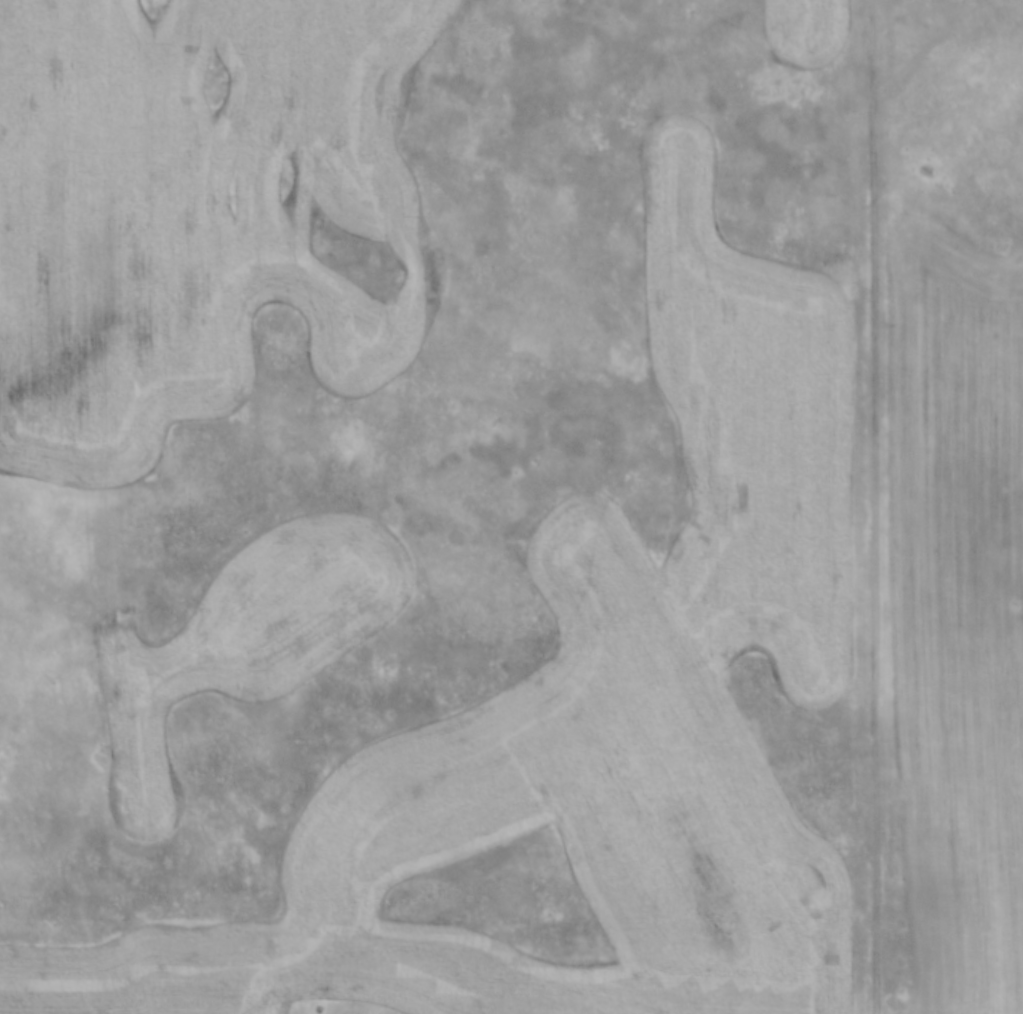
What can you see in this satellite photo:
road: (862, 507)

